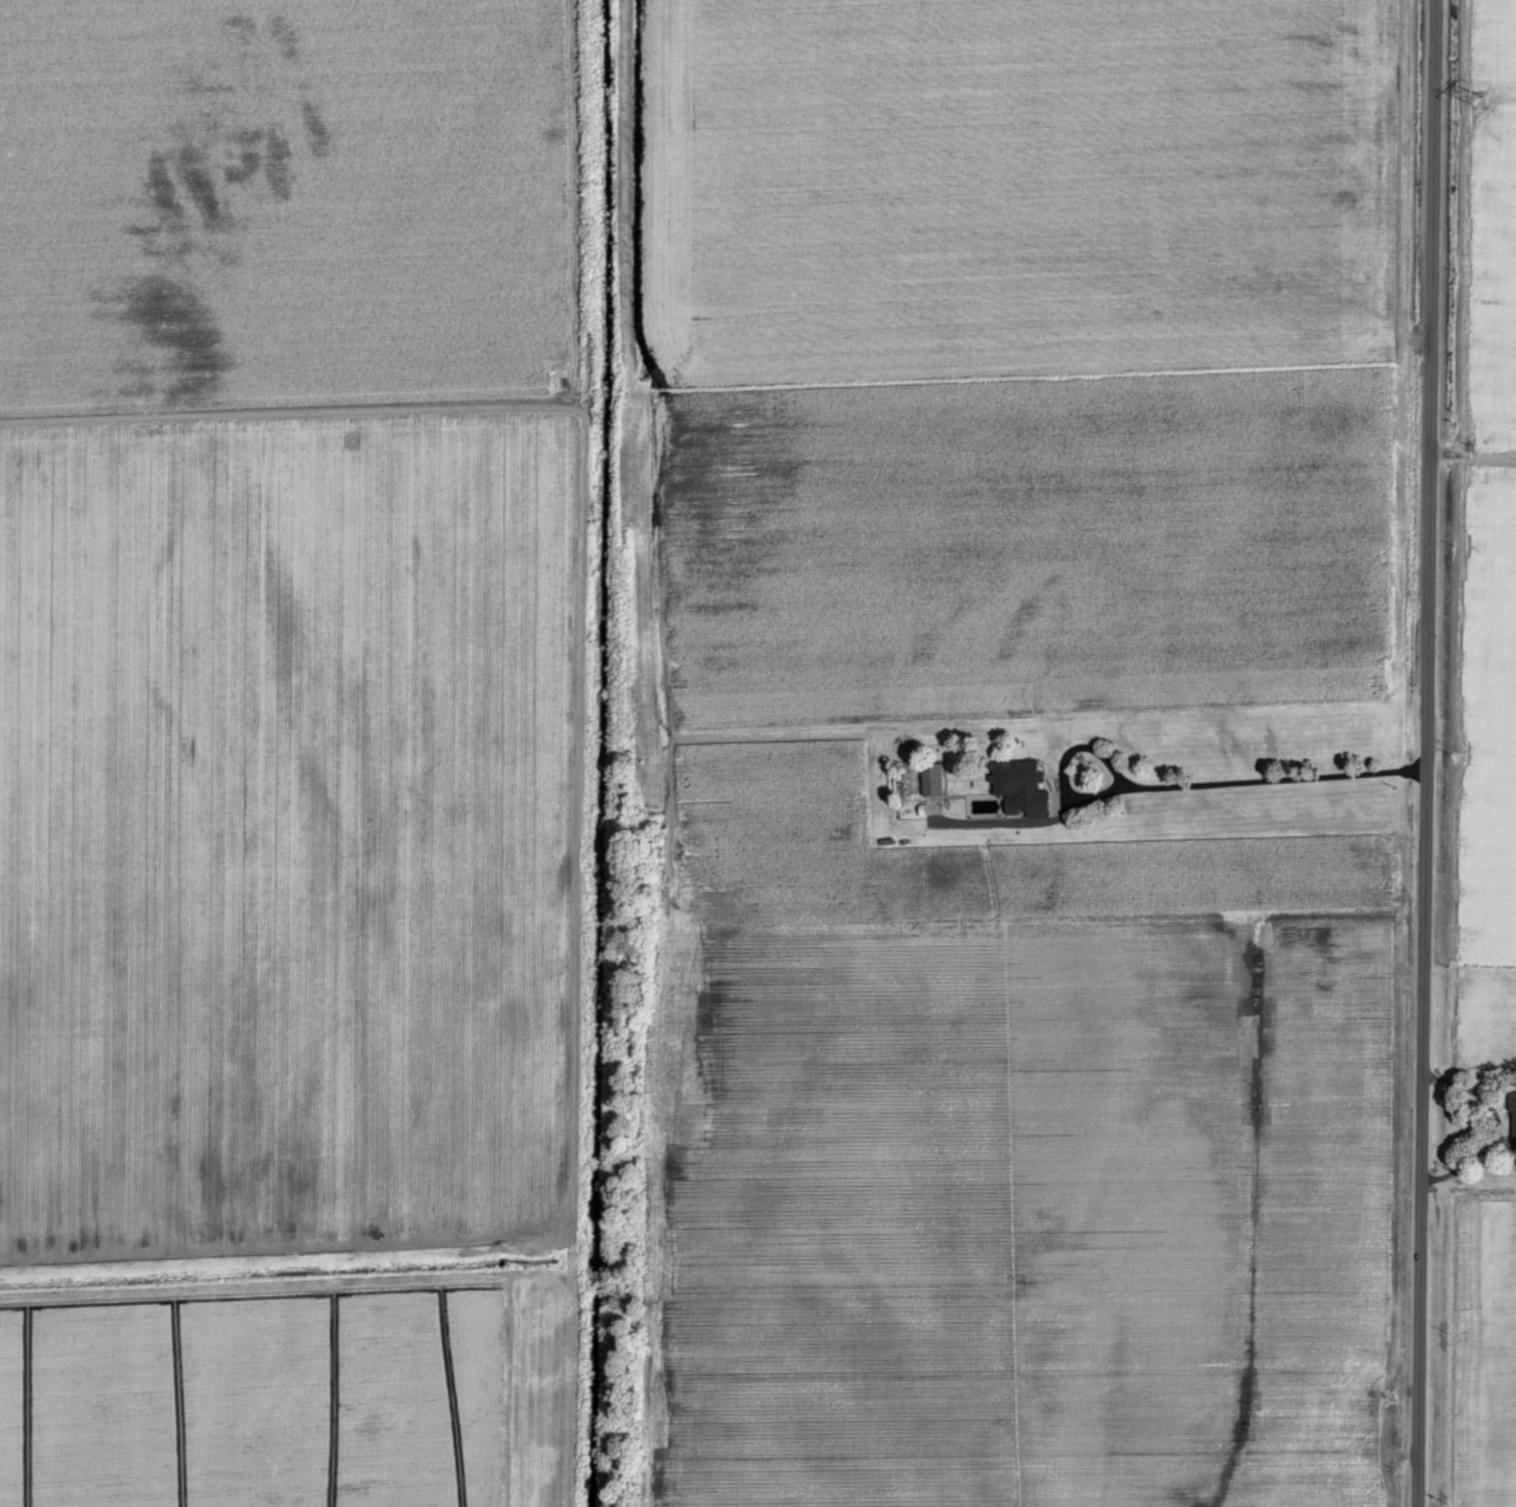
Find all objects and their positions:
power tower: (1477, 97)
road: (1425, 753)
building: (1013, 773)
building: (929, 776)
road: (1239, 779)
building: (1023, 798)
building: (1515, 1121)
road: (1506, 1127)
road: (542, 1397)

